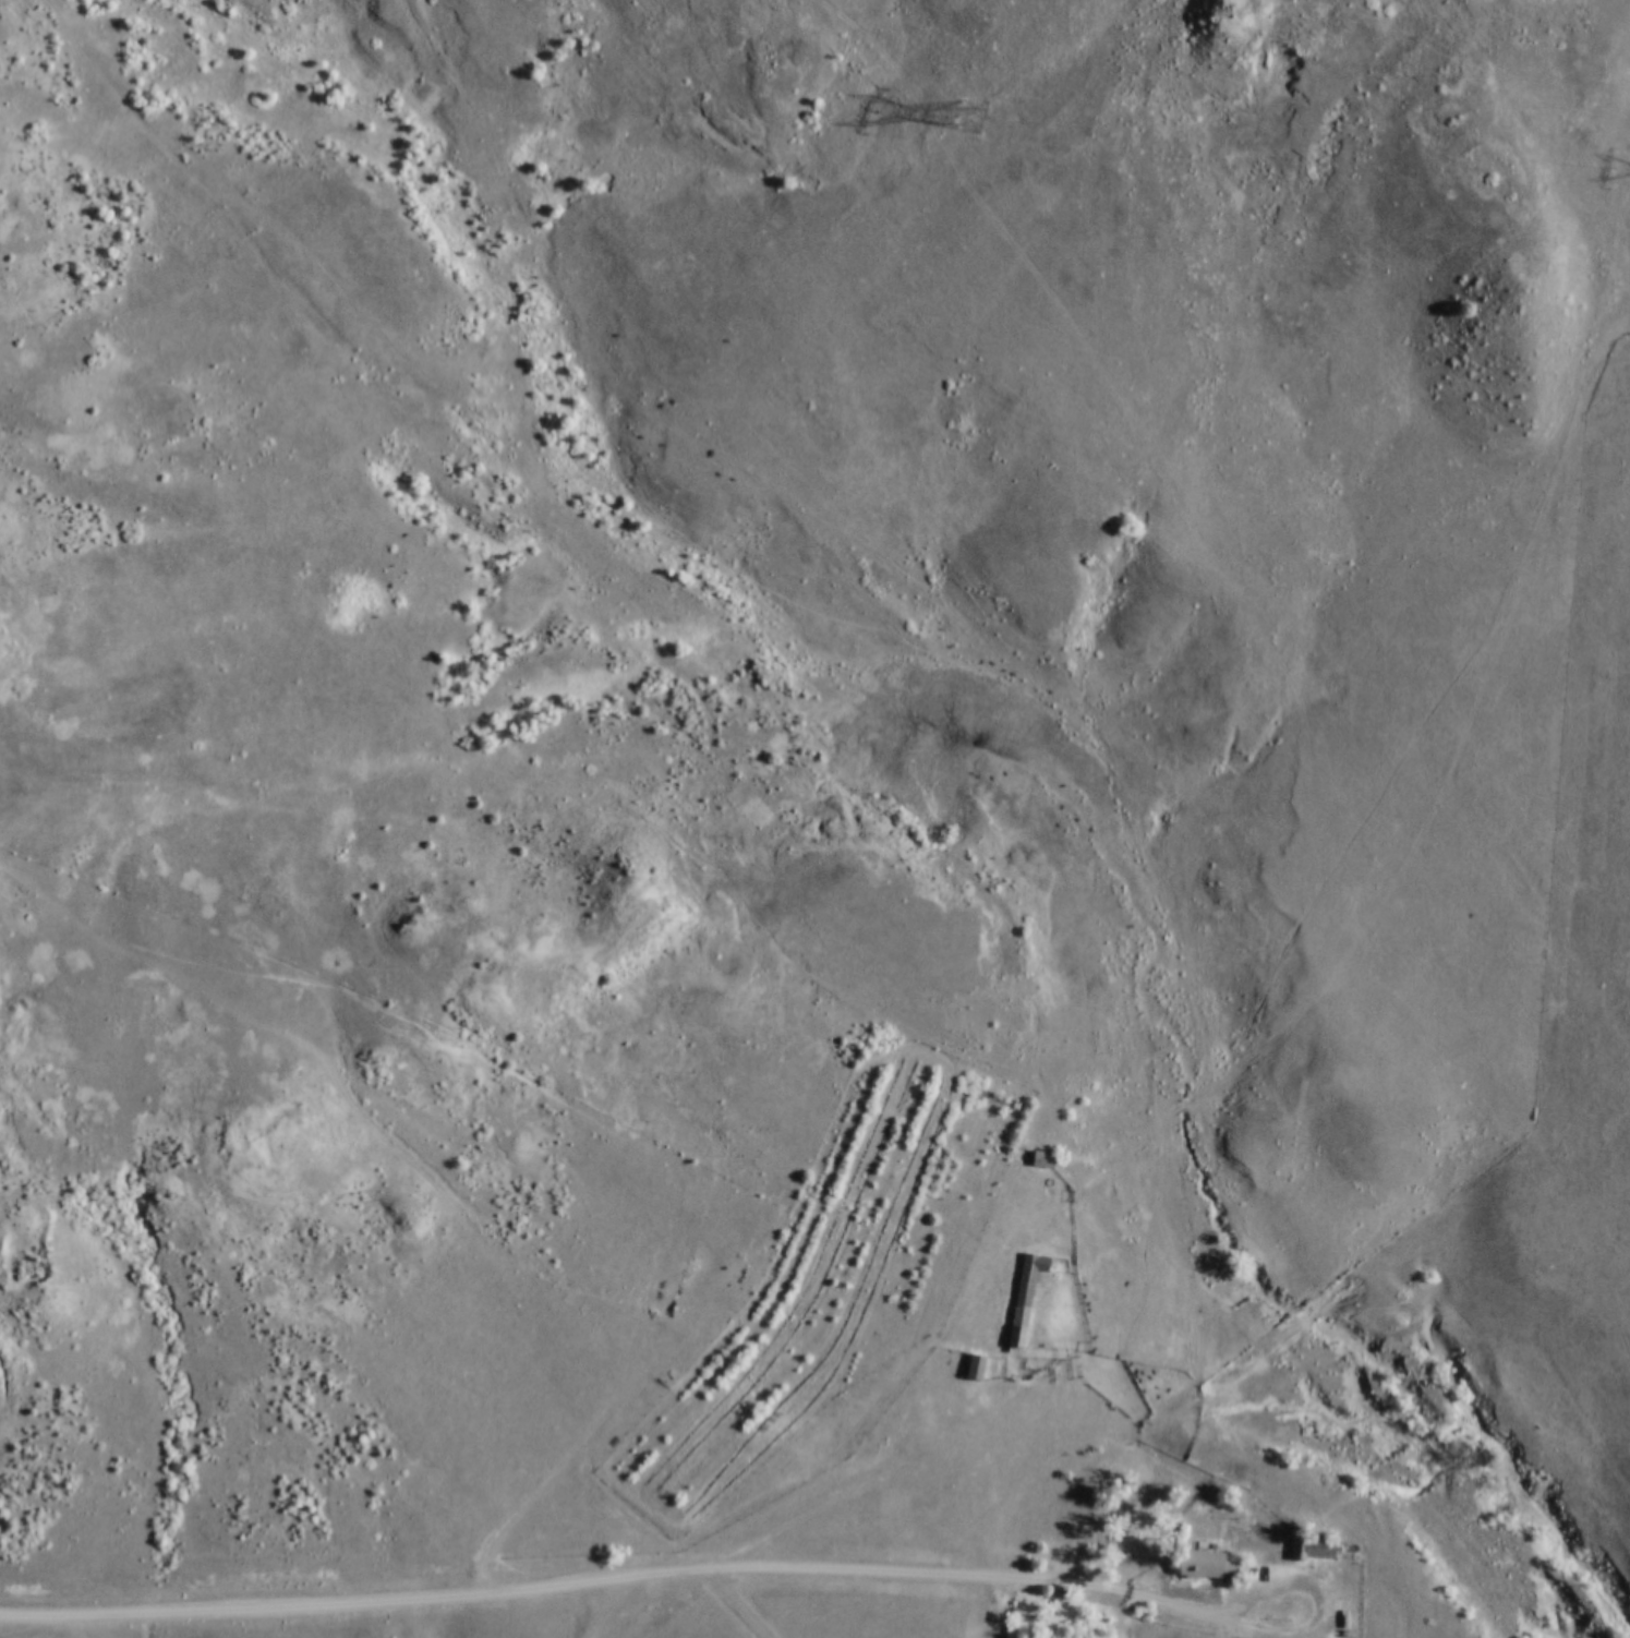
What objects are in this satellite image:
power tower: (967, 107)
building: (1043, 1160)
building: (1025, 1297)
building: (975, 1368)
building: (1314, 1550)
building: (1207, 1566)
road: (614, 1578)
road: (1369, 1586)
road: (734, 1601)
road: (1316, 1604)
road: (596, 1609)

